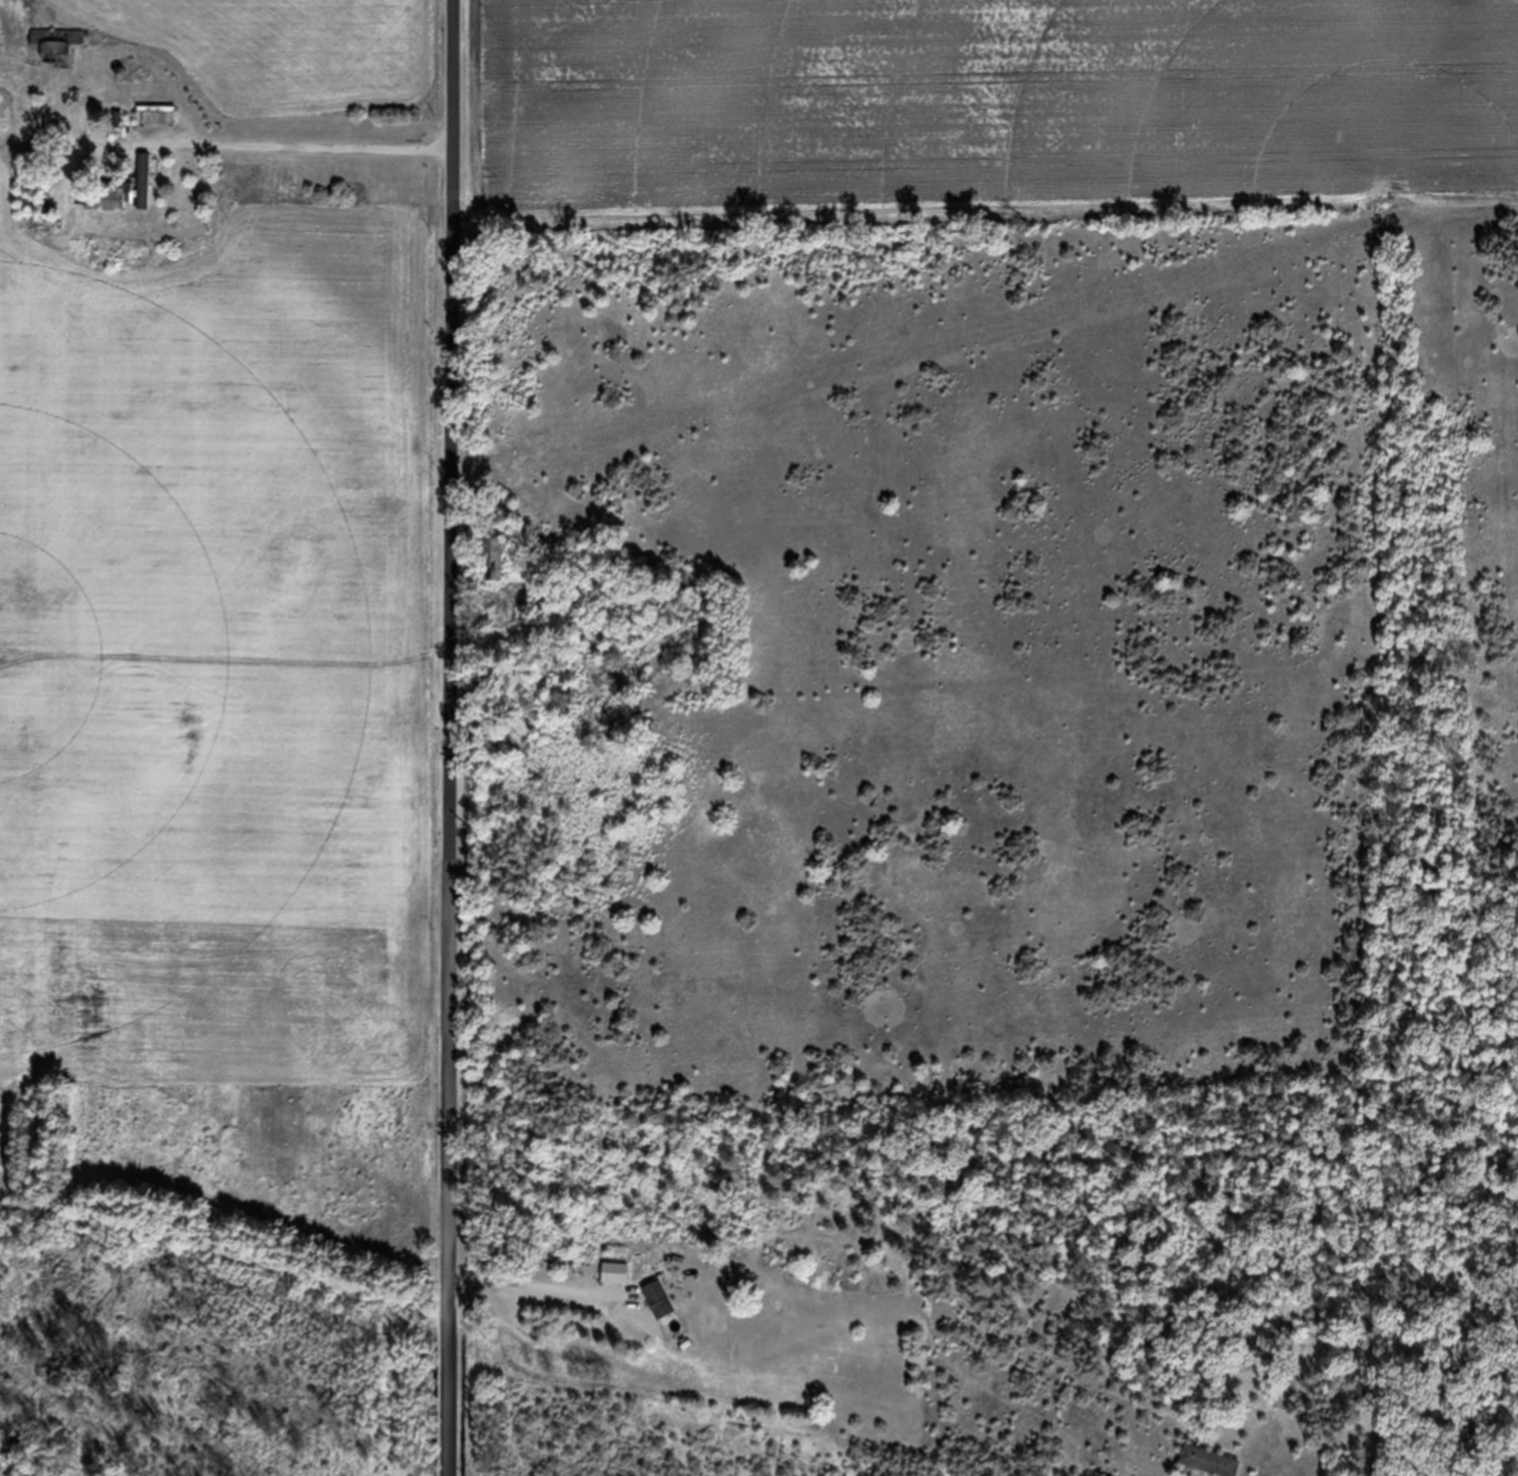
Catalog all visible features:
building: (56, 57)
building: (148, 132)
building: (141, 203)
building: (94, 221)
building: (494, 566)
building: (564, 712)
road: (451, 737)
building: (613, 1284)
building: (789, 1285)
building: (657, 1311)
building: (1205, 1468)

